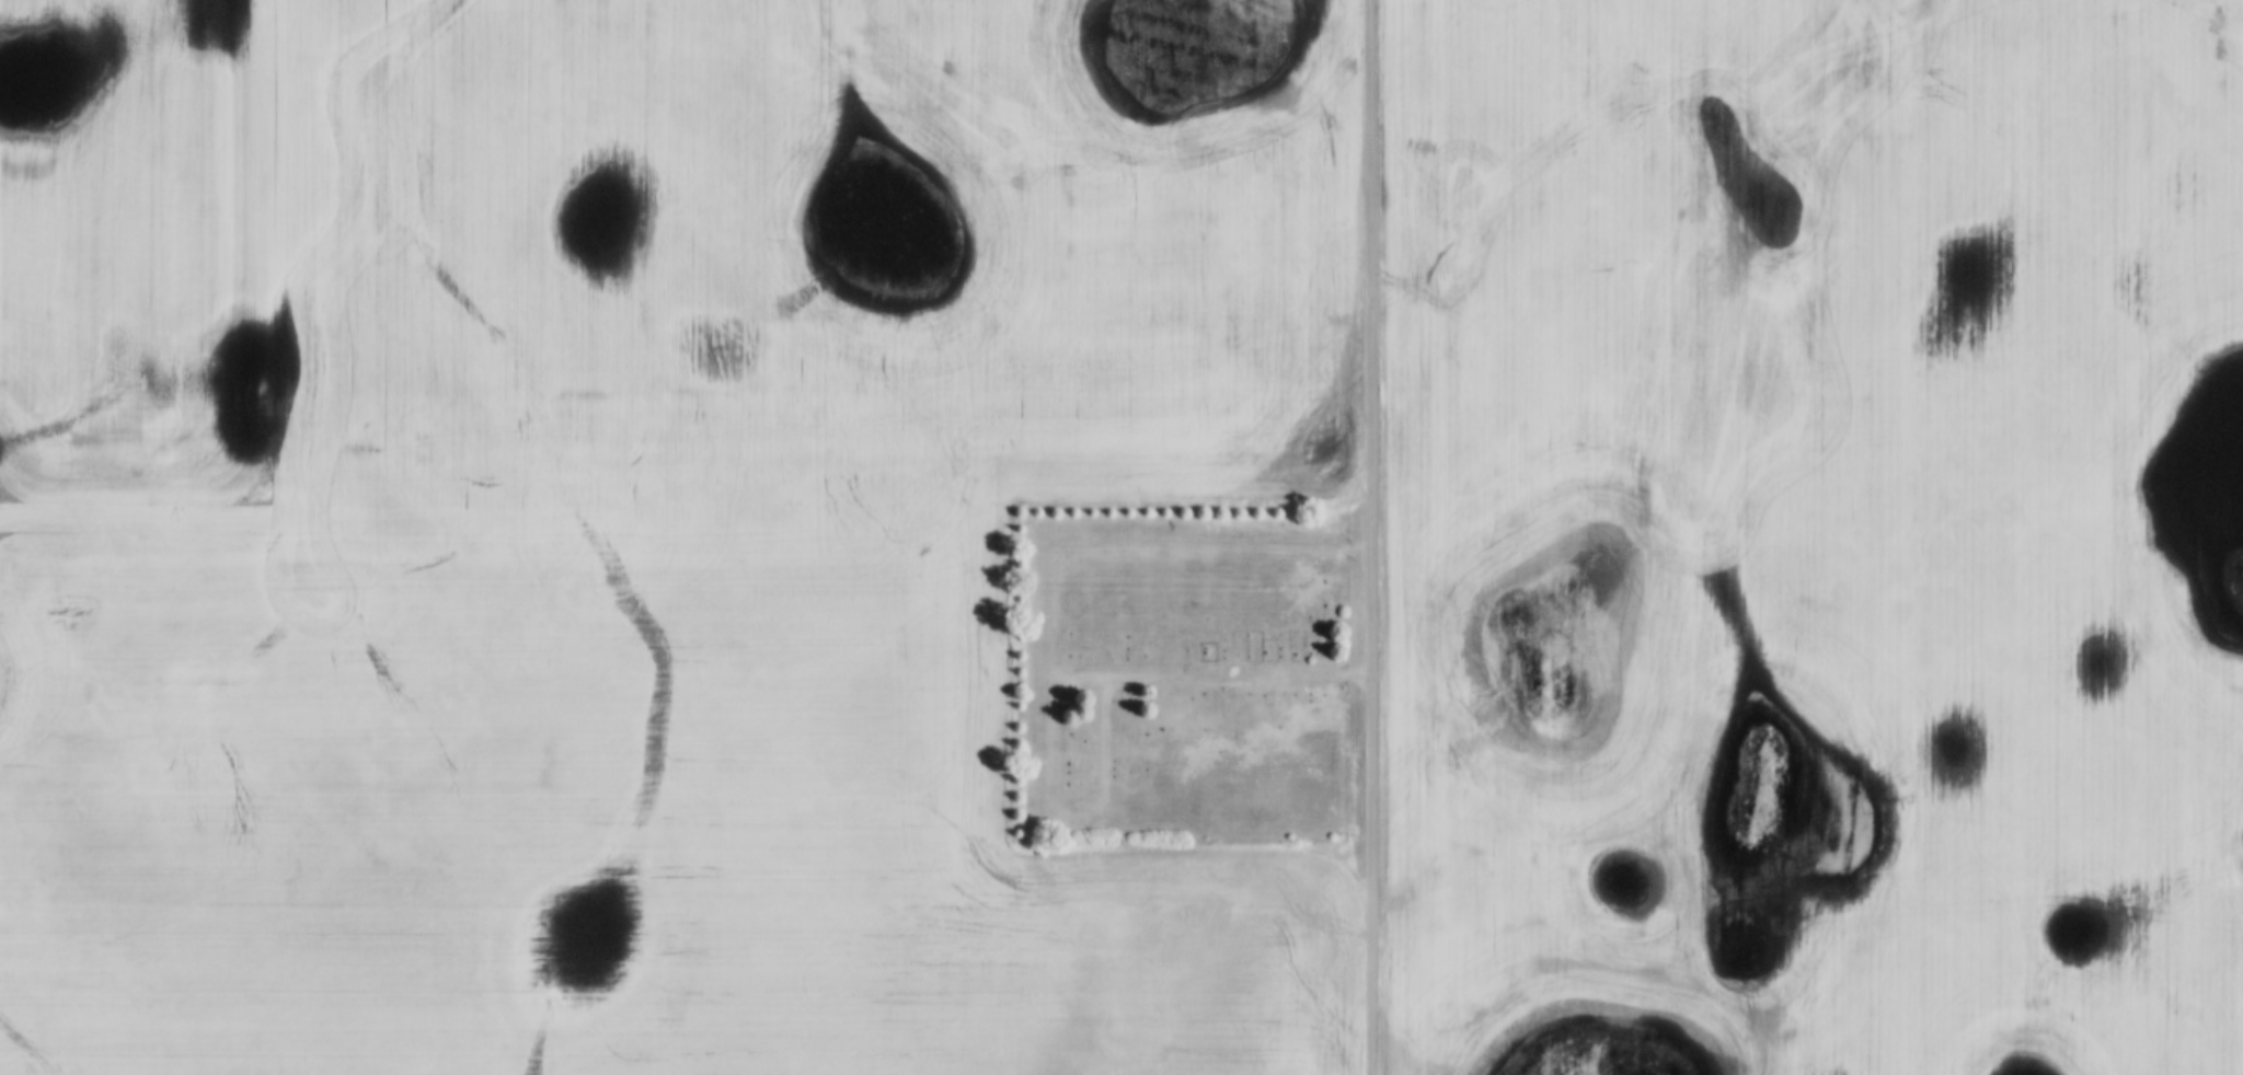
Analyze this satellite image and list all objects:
road: (1369, 537)
park: (1183, 678)
road: (1252, 679)

